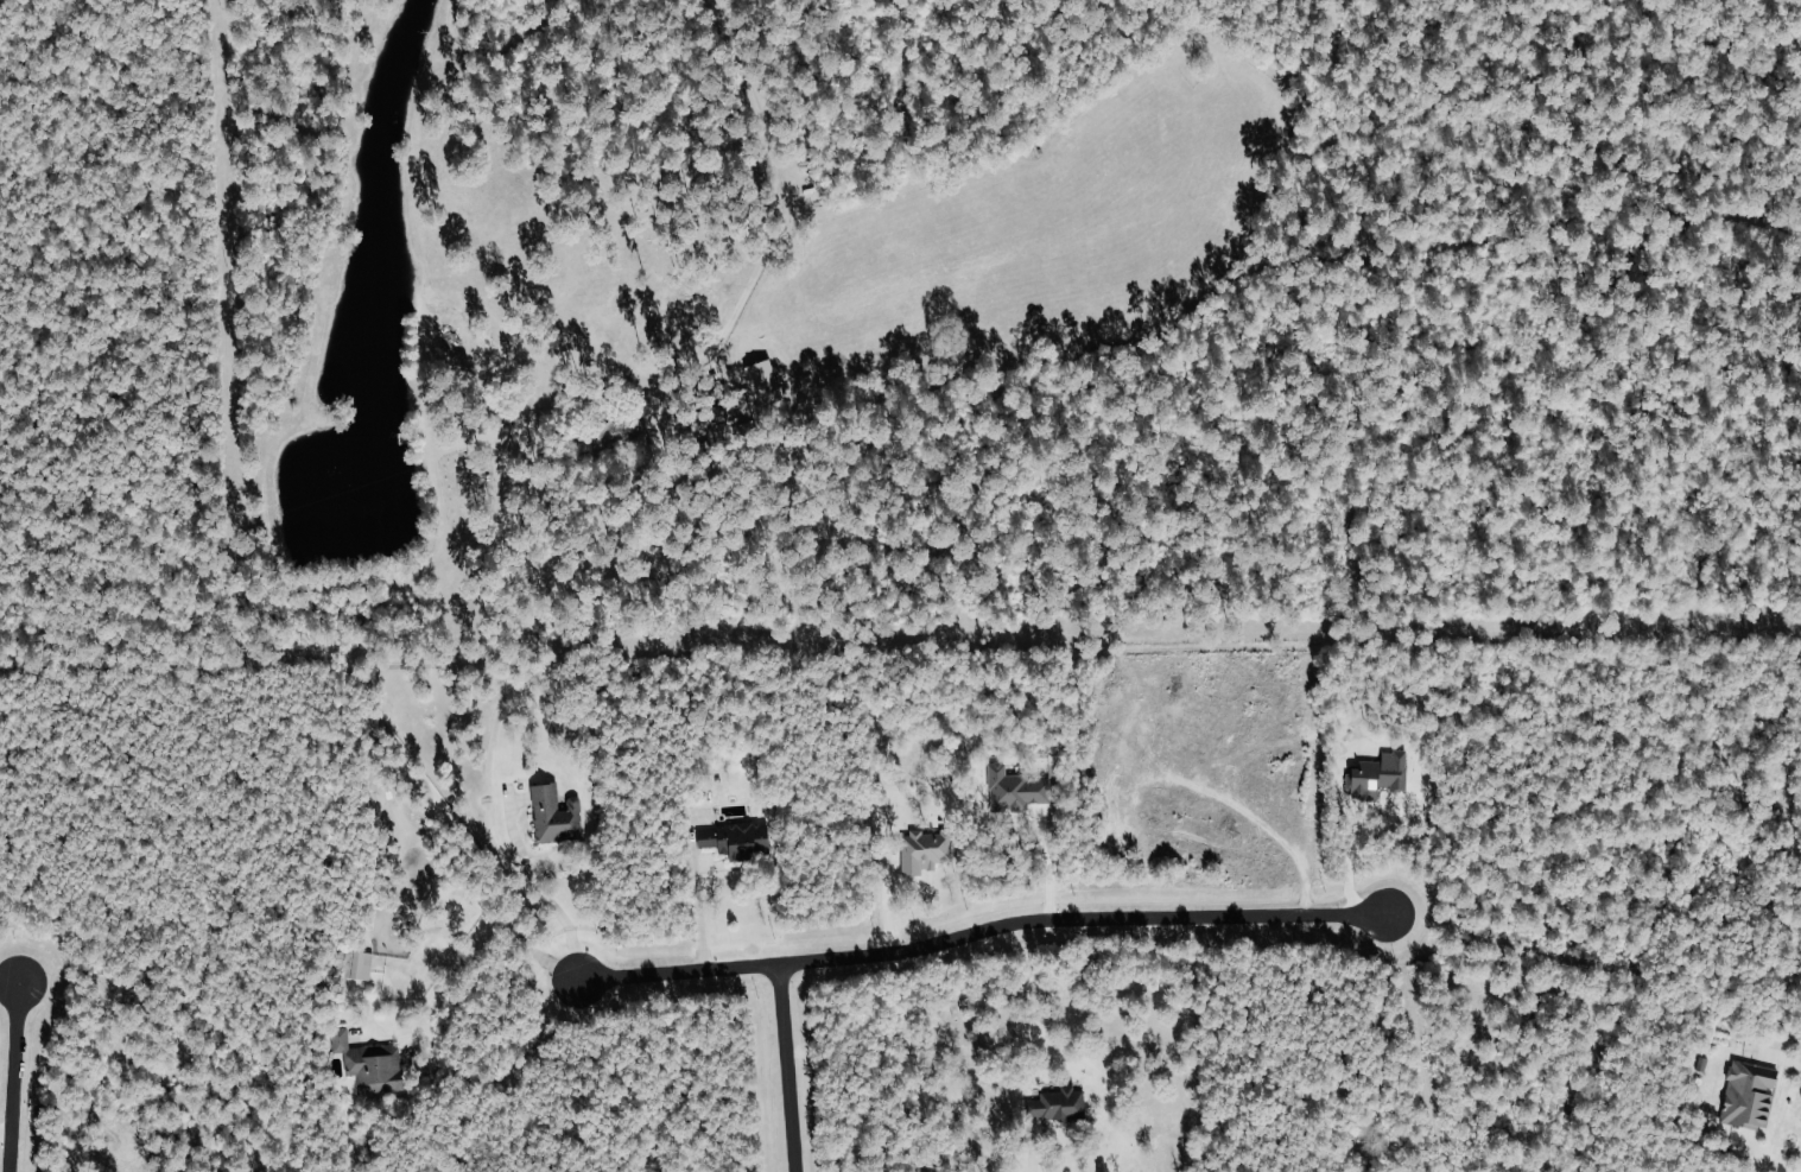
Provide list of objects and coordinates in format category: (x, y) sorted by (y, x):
building: (621, 432)
building: (1381, 773)
building: (1015, 788)
building: (556, 813)
building: (737, 838)
building: (925, 850)
road: (1350, 860)
road: (534, 889)
road: (689, 905)
road: (978, 927)
road: (468, 940)
building: (357, 964)
building: (369, 1064)
road: (784, 1068)
road: (14, 1075)
building: (1752, 1092)
building: (1058, 1104)
road: (5, 1129)
road: (1038, 1148)

